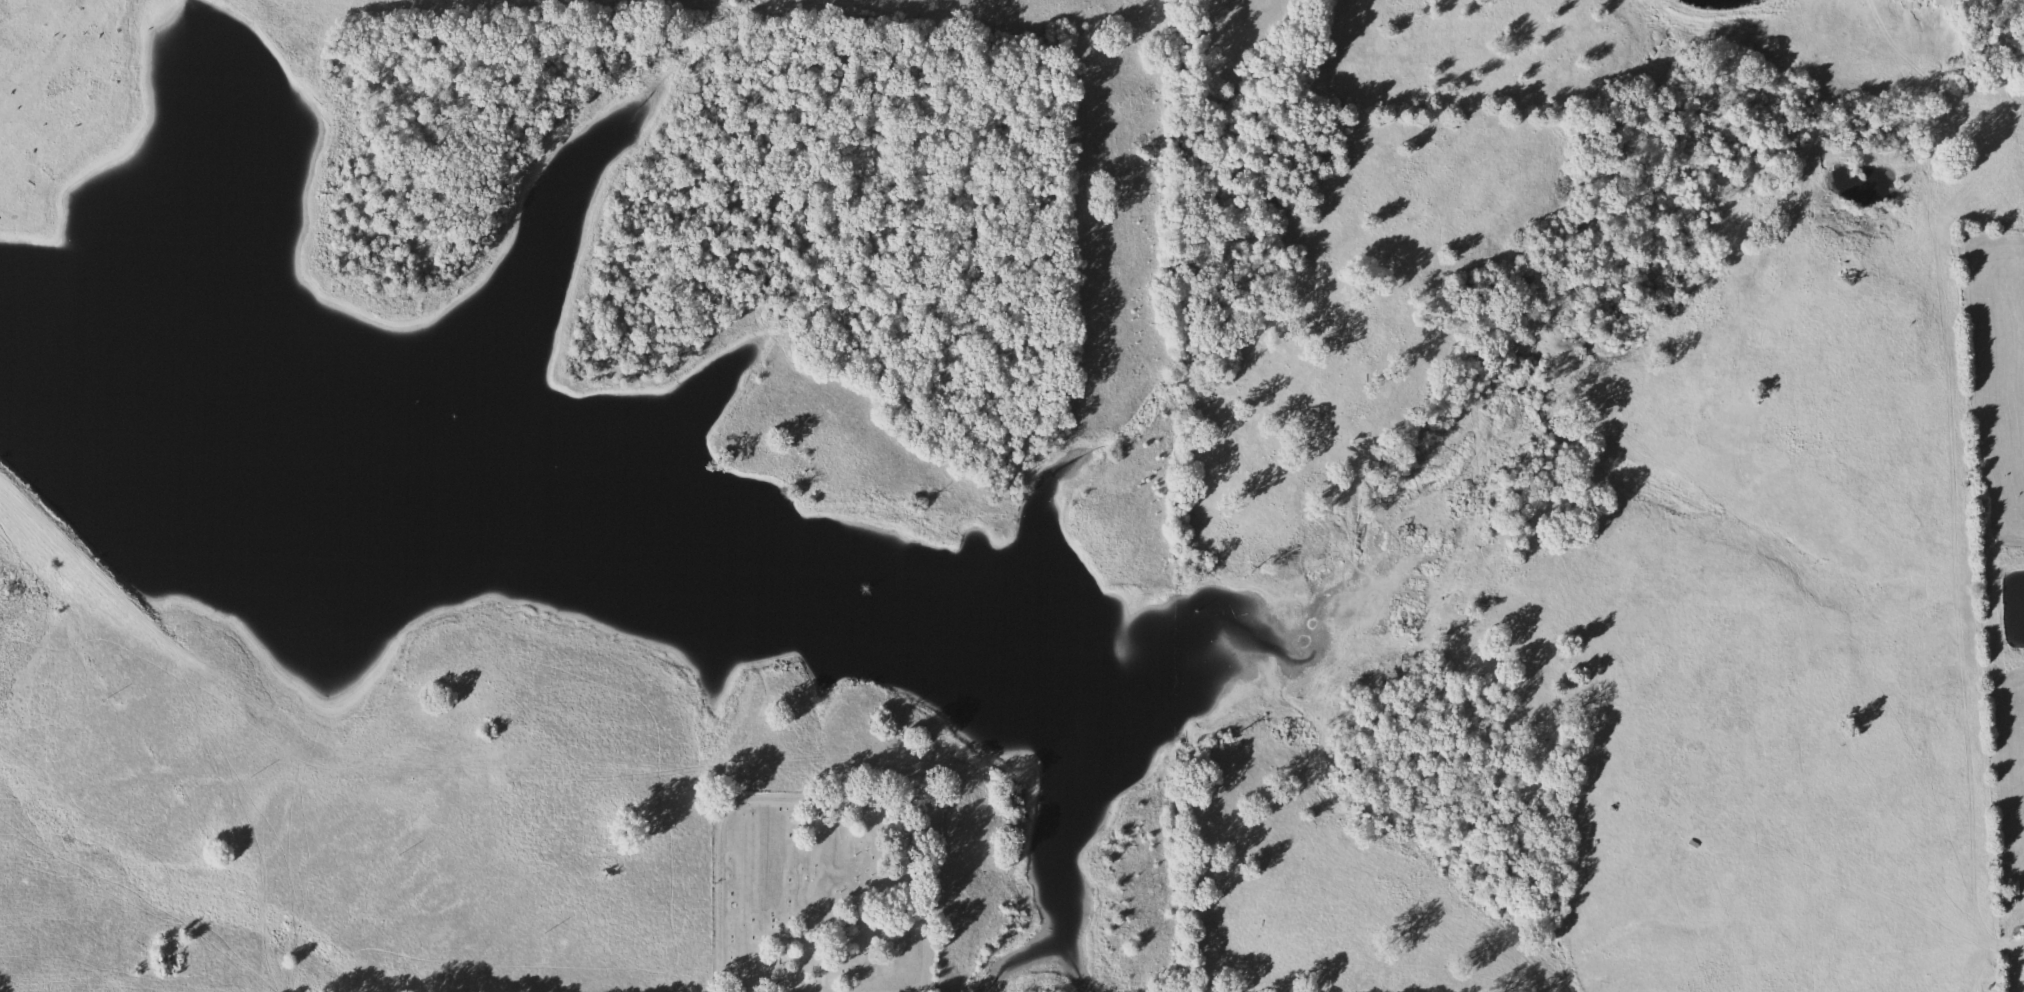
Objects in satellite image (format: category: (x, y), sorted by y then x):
road: (721, 882)
road: (1845, 888)
park: (826, 890)

